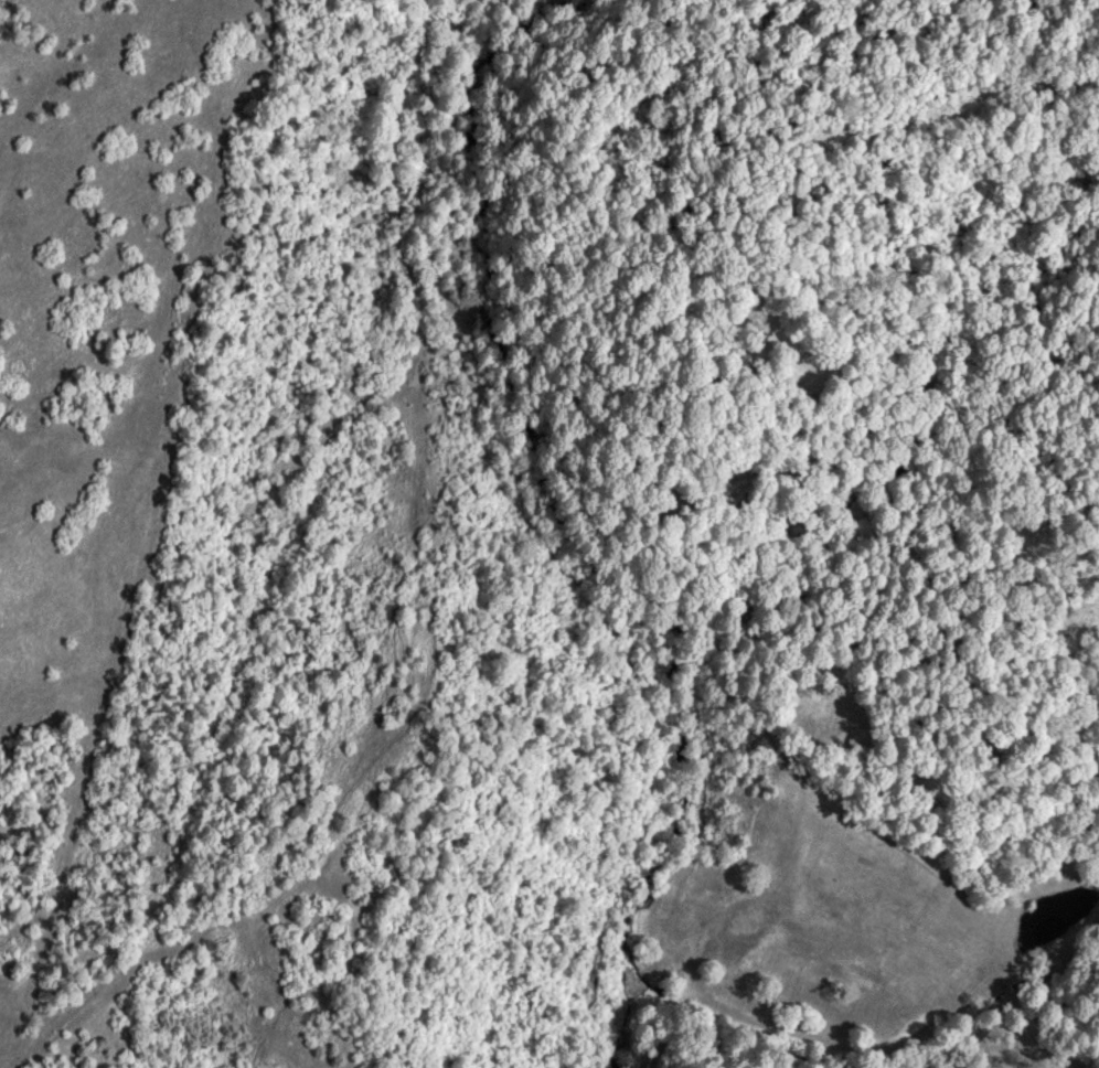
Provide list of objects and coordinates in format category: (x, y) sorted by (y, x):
road: (245, 542)

